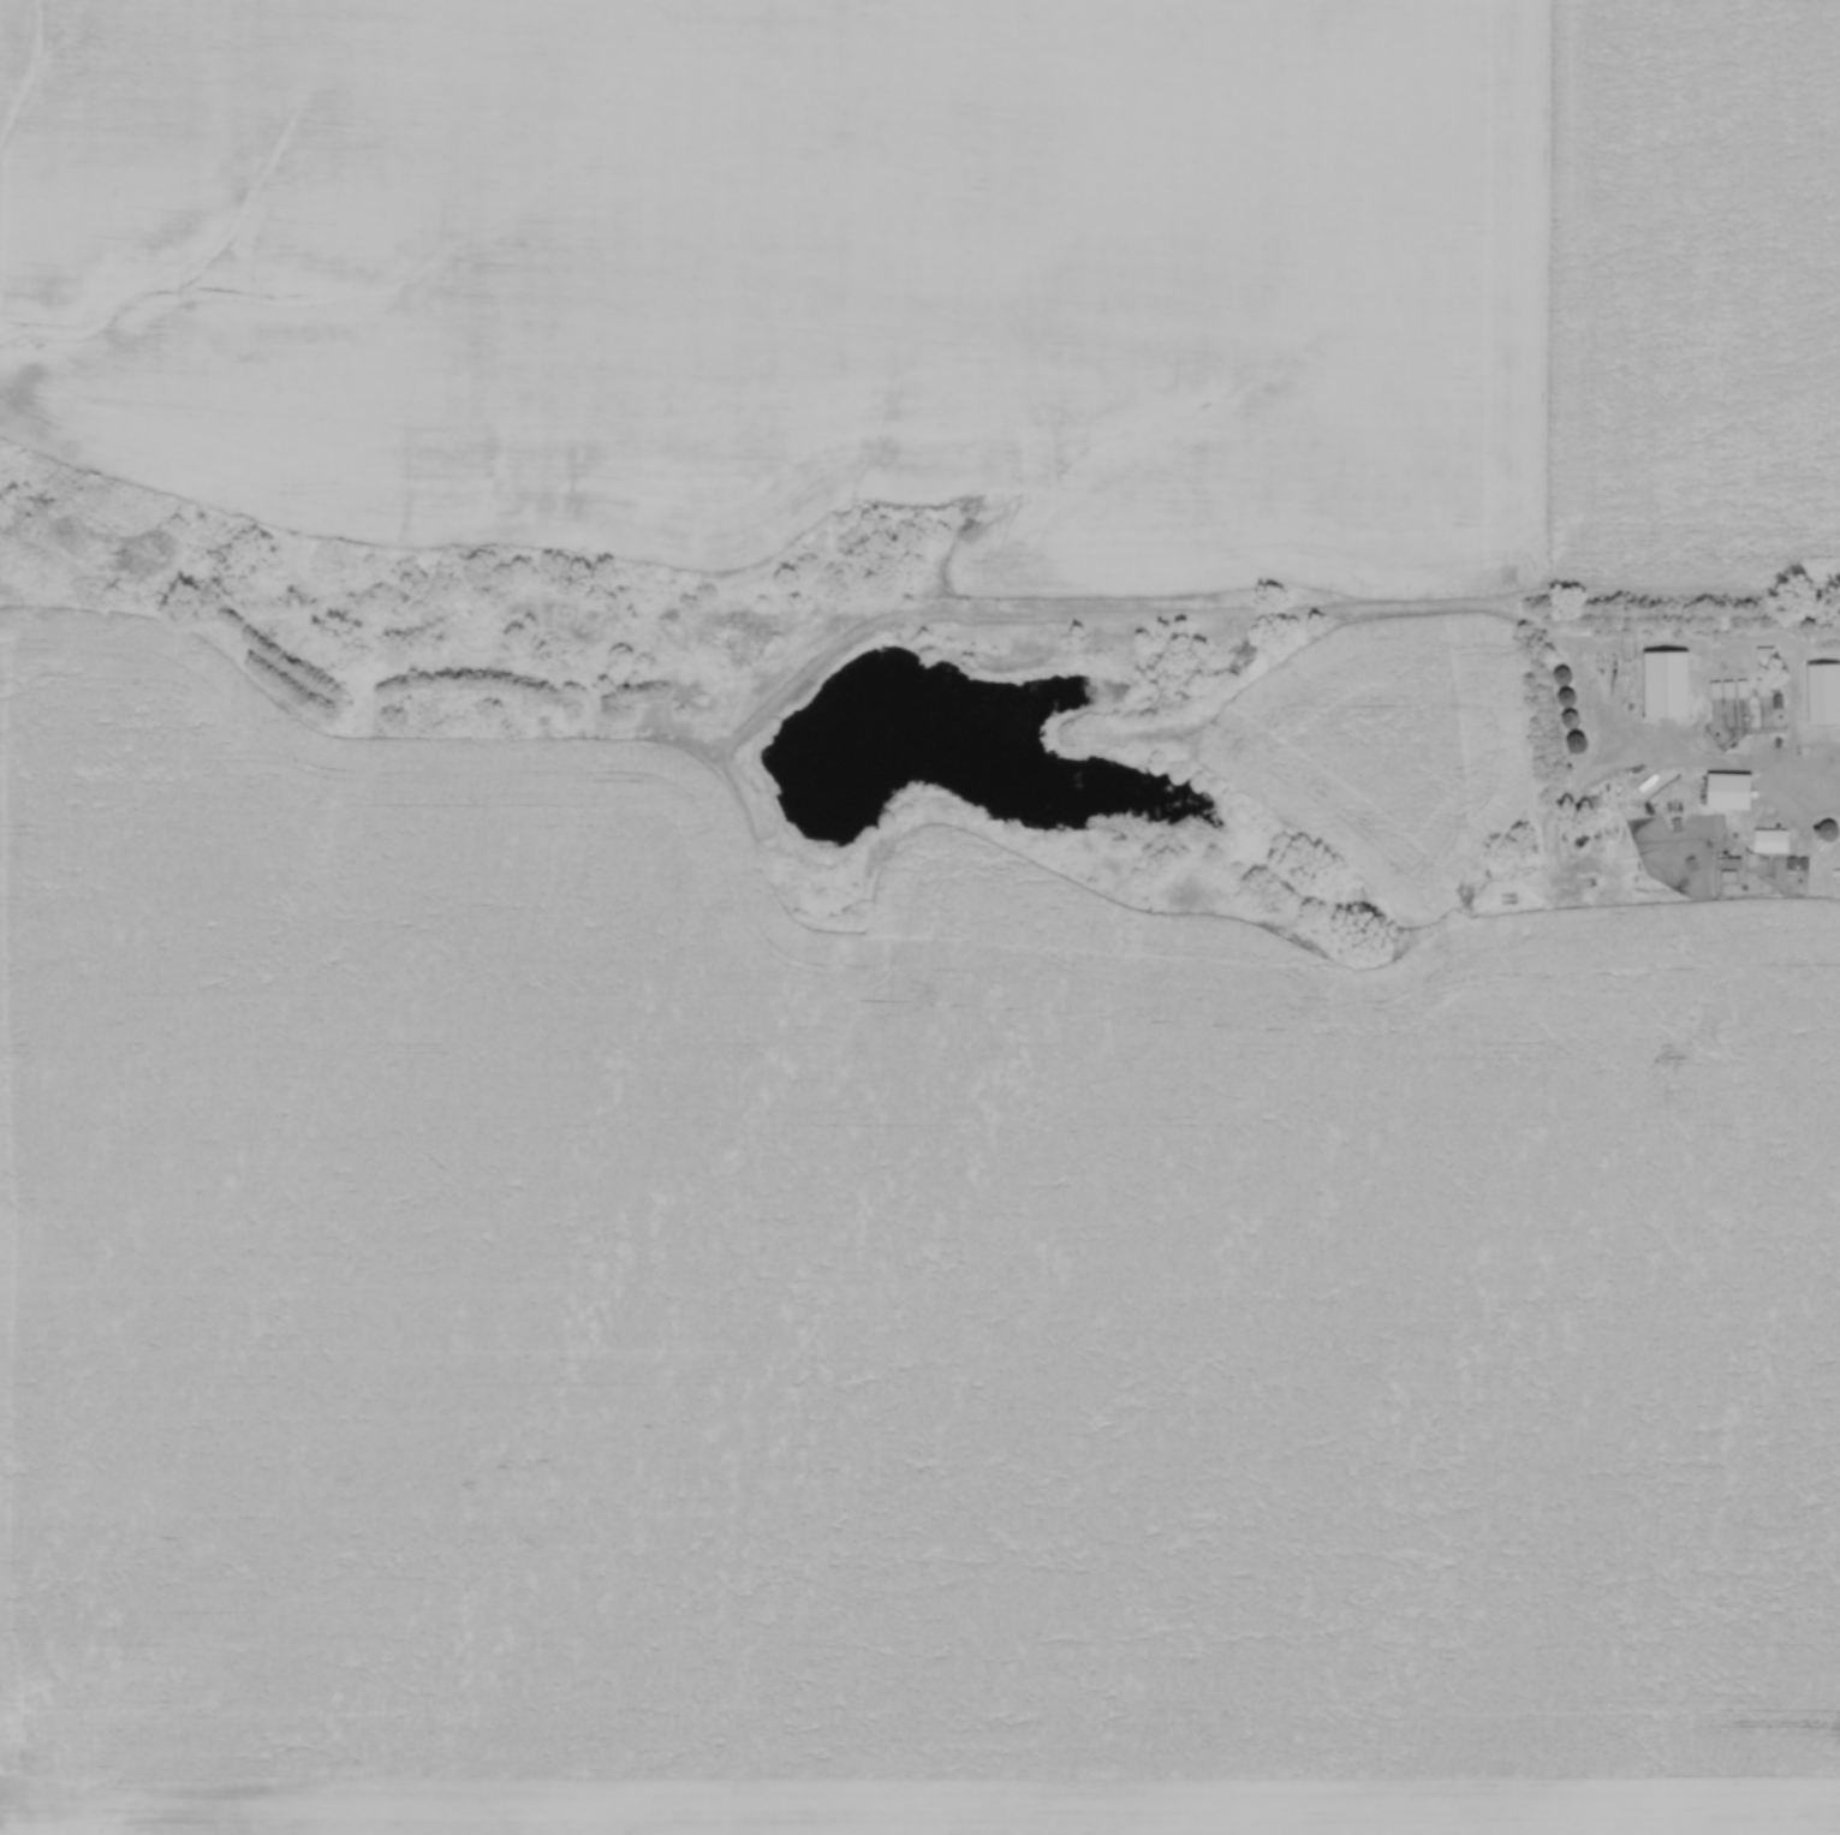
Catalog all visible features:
building: (1823, 695)
road: (1823, 788)
building: (1732, 791)
building: (1770, 840)

